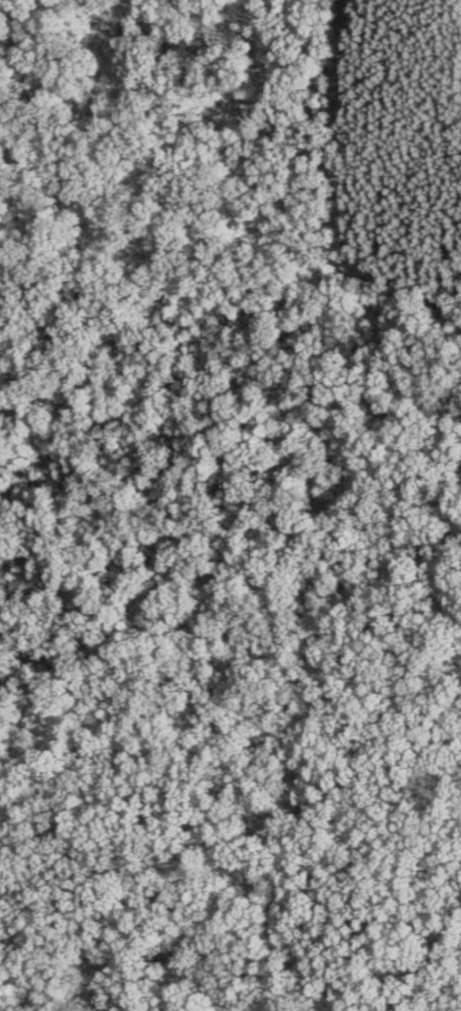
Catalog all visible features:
road: (281, 330)

